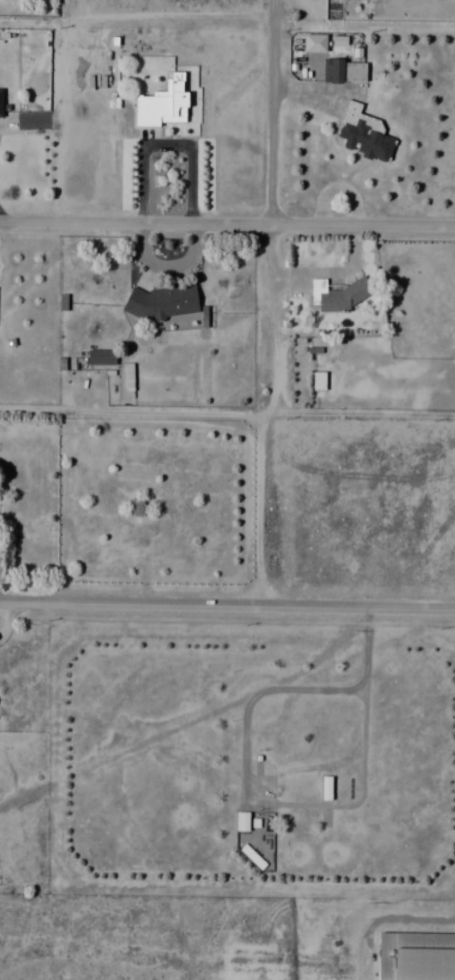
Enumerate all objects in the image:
building: (315, 43)
building: (345, 72)
building: (164, 104)
road: (269, 111)
building: (364, 134)
road: (227, 222)
building: (339, 294)
building: (162, 301)
building: (101, 357)
building: (318, 380)
road: (130, 411)
road: (261, 413)
road: (358, 415)
road: (227, 604)
building: (252, 821)
building: (416, 956)

